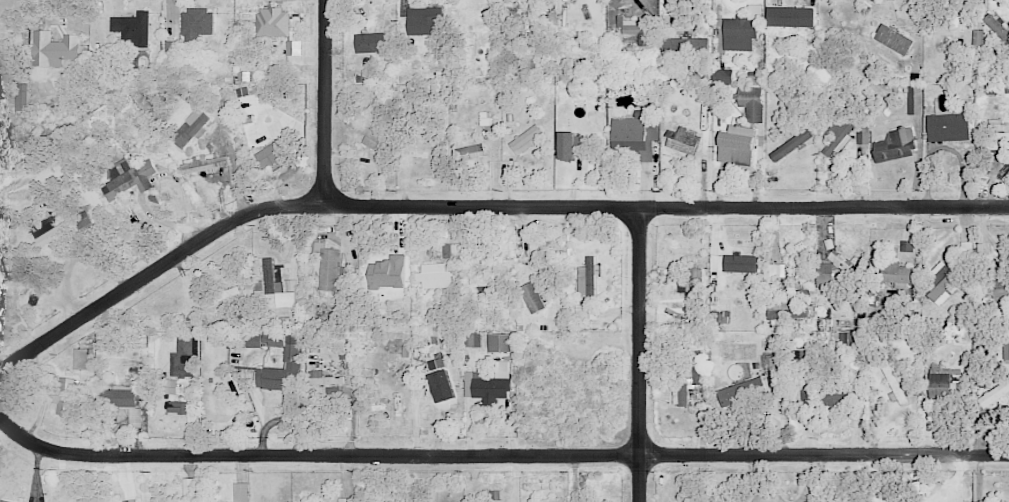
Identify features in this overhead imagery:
building: (790, 17)
building: (424, 20)
building: (273, 22)
building: (196, 24)
building: (996, 26)
building: (131, 28)
building: (636, 29)
building: (739, 33)
building: (895, 36)
building: (371, 42)
building: (673, 44)
building: (293, 47)
building: (171, 48)
building: (54, 49)
building: (723, 76)
building: (21, 97)
building: (915, 99)
road: (324, 101)
building: (752, 103)
building: (948, 127)
building: (191, 129)
building: (367, 134)
building: (993, 134)
building: (635, 136)
building: (862, 136)
building: (836, 138)
building: (526, 139)
building: (683, 141)
building: (571, 145)
building: (737, 145)
building: (790, 145)
building: (895, 145)
building: (420, 149)
building: (474, 151)
building: (271, 155)
building: (205, 165)
building: (128, 176)
road: (481, 205)
building: (453, 250)
building: (331, 270)
building: (387, 272)
building: (773, 272)
building: (895, 274)
building: (823, 275)
building: (435, 276)
building: (270, 277)
building: (587, 277)
building: (942, 281)
building: (692, 283)
building: (992, 288)
building: (33, 296)
building: (532, 297)
building: (285, 299)
building: (2, 301)
building: (787, 307)
building: (586, 309)
building: (848, 338)
building: (475, 339)
building: (251, 340)
building: (500, 343)
road: (639, 355)
building: (184, 357)
building: (82, 358)
building: (440, 372)
building: (687, 376)
building: (275, 378)
building: (322, 378)
building: (894, 378)
building: (491, 383)
building: (994, 393)
building: (733, 394)
building: (63, 395)
building: (837, 395)
building: (120, 398)
building: (806, 398)
building: (177, 407)
road: (499, 457)
building: (190, 490)
building: (241, 492)
building: (4, 501)
building: (131, 501)

